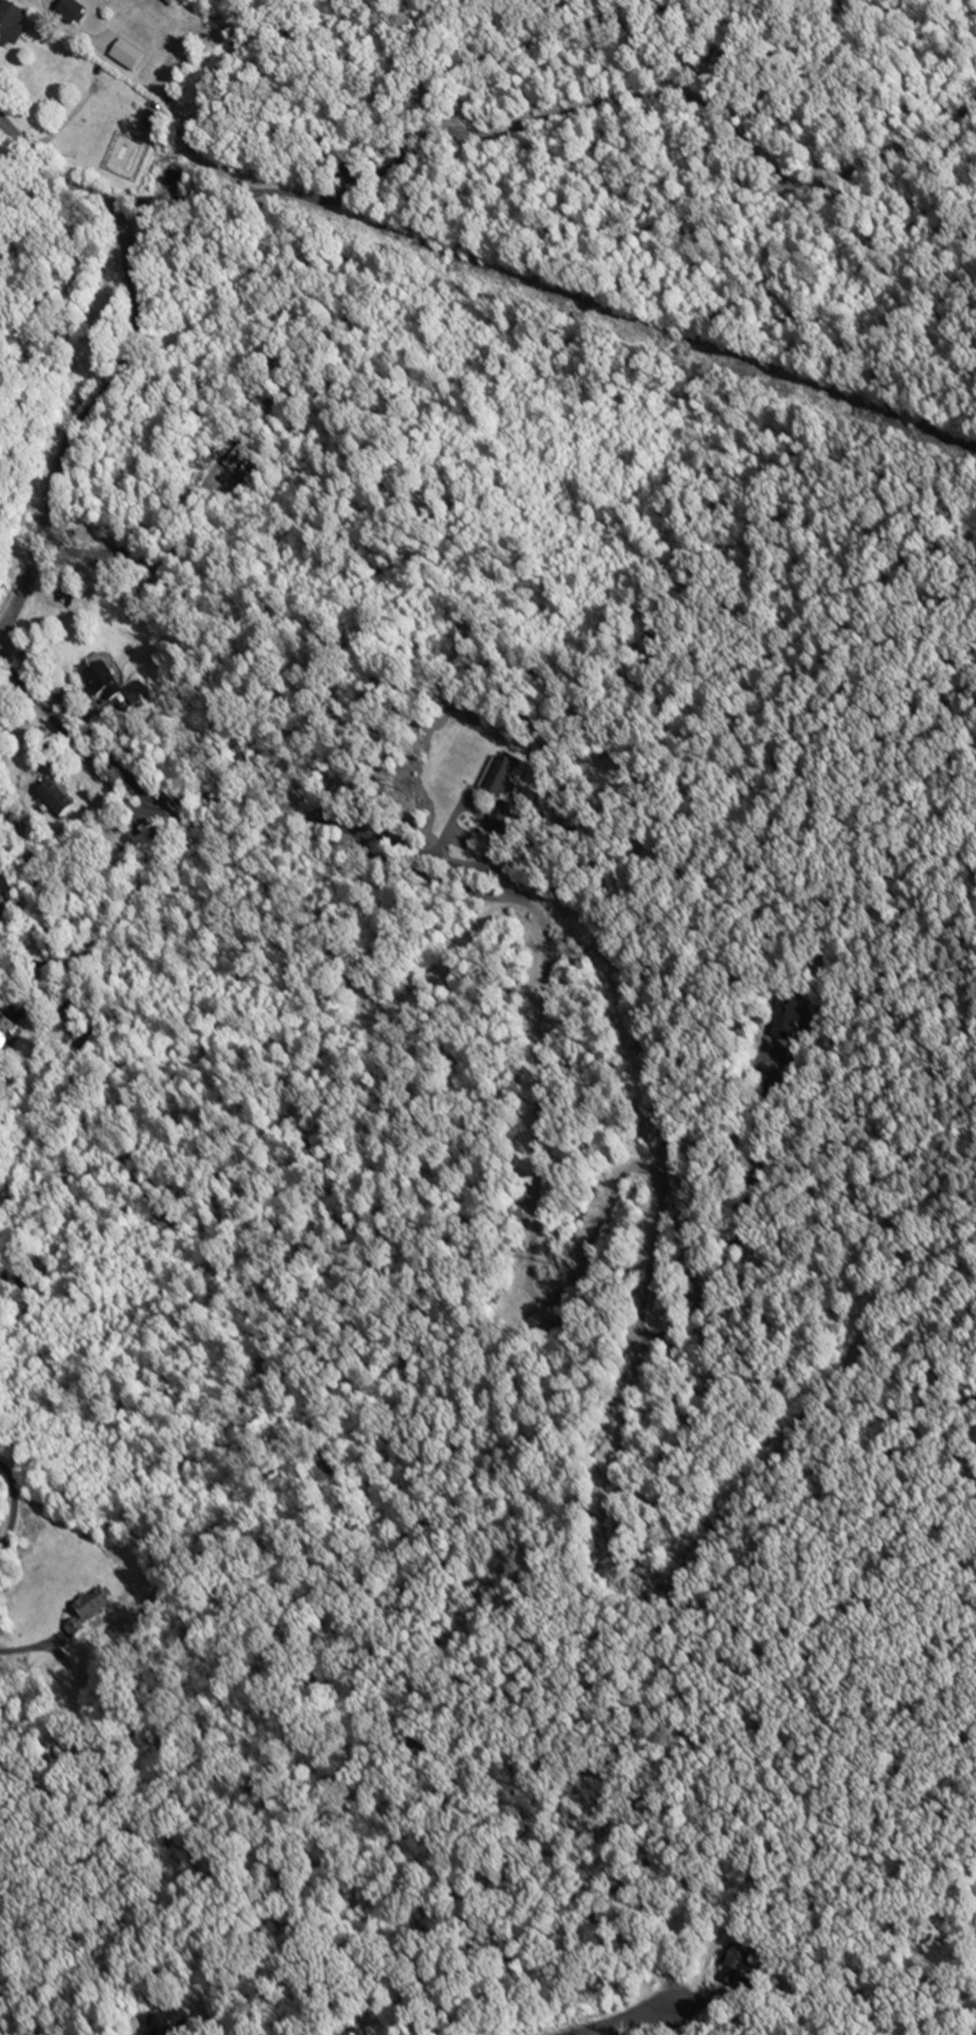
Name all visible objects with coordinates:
road: (546, 117)
road: (133, 357)
road: (109, 927)
road: (50, 964)
road: (524, 1231)
road: (16, 1512)
building: (735, 1965)
road: (630, 2013)
road: (613, 2027)

